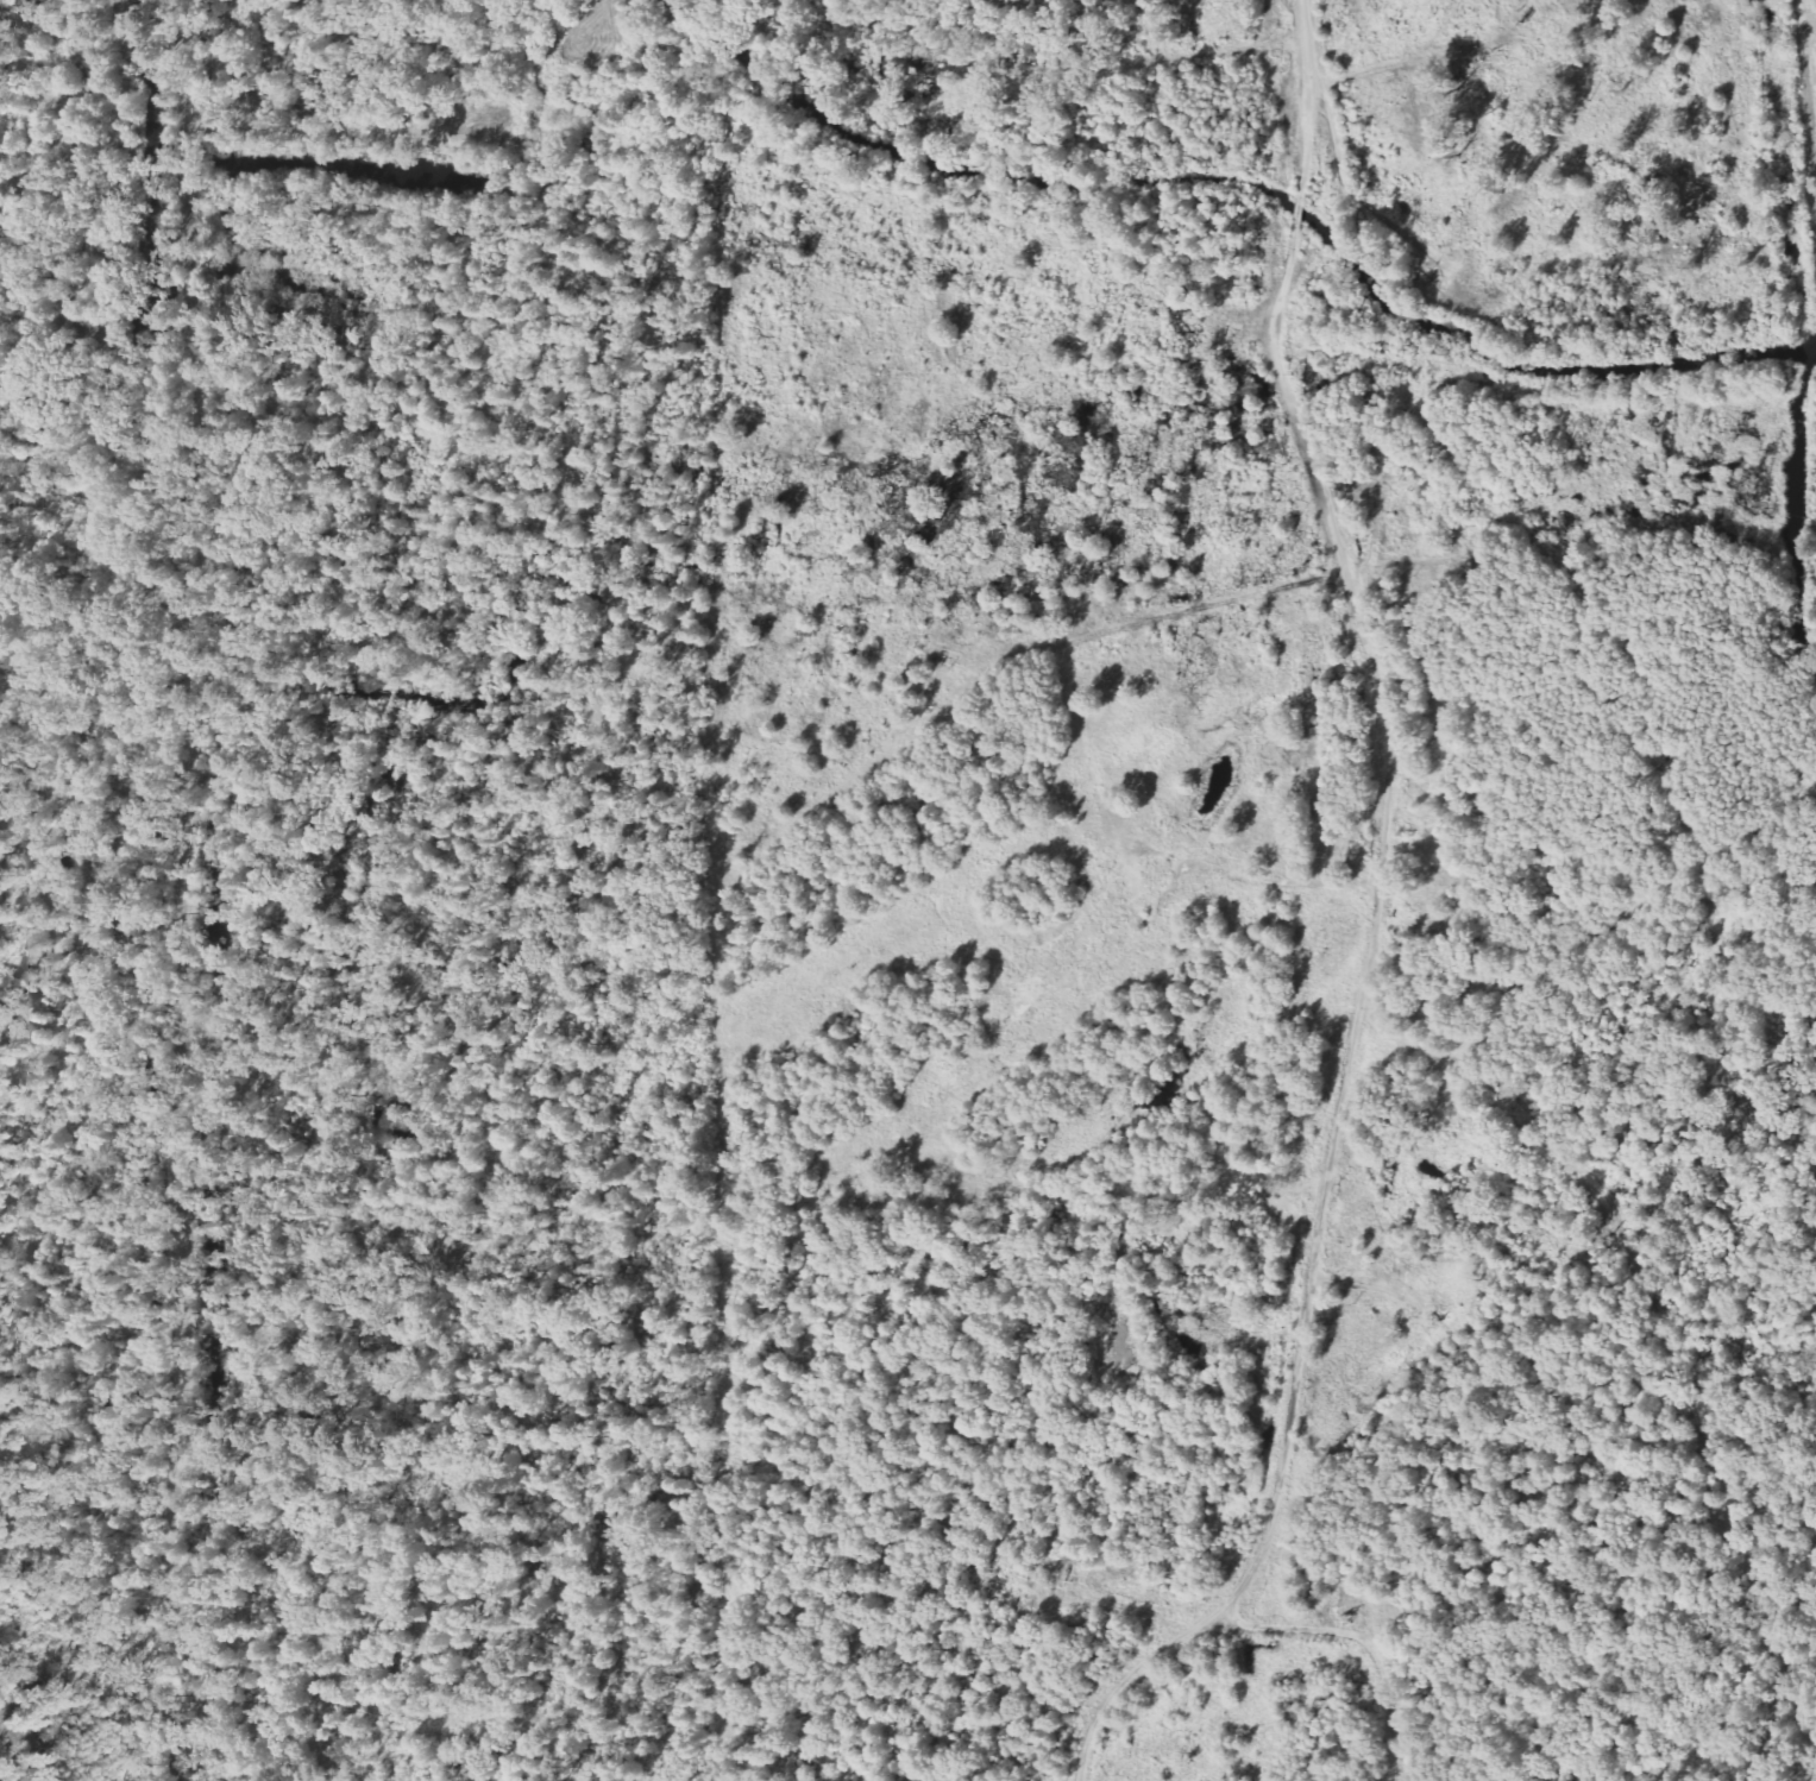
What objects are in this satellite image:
road: (1375, 908)

